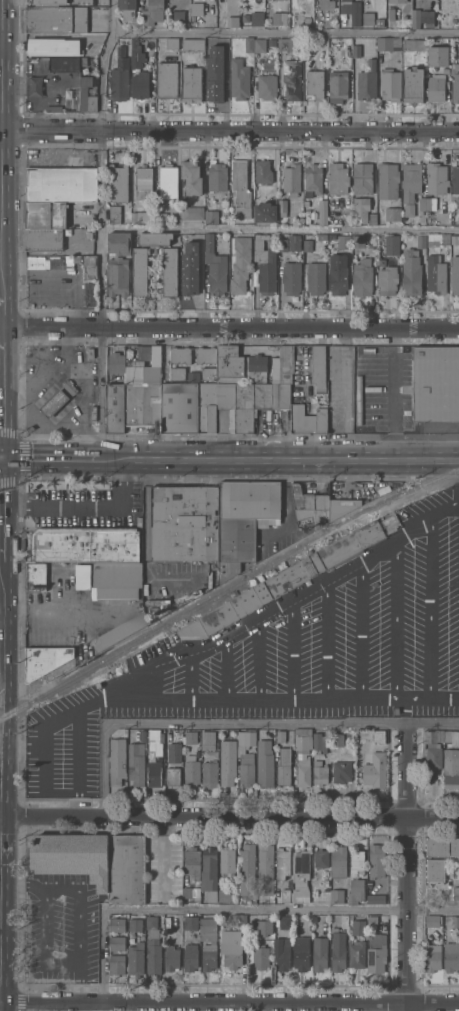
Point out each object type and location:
building: (48, 1)
building: (397, 1)
building: (326, 3)
building: (219, 4)
building: (196, 7)
building: (128, 8)
building: (351, 10)
building: (153, 11)
building: (178, 15)
building: (421, 16)
building: (245, 17)
building: (333, 17)
building: (369, 17)
building: (56, 18)
building: (257, 18)
building: (279, 19)
building: (307, 19)
building: (233, 21)
road: (286, 32)
building: (272, 39)
building: (171, 42)
building: (387, 42)
building: (192, 43)
building: (284, 43)
building: (413, 43)
building: (248, 44)
building: (259, 44)
building: (53, 45)
road: (1, 47)
building: (341, 48)
building: (309, 50)
building: (356, 50)
building: (222, 51)
building: (136, 52)
building: (437, 55)
building: (66, 63)
road: (102, 64)
building: (445, 69)
building: (119, 75)
building: (239, 78)
building: (291, 78)
building: (166, 79)
building: (213, 80)
building: (367, 81)
building: (314, 82)
building: (139, 83)
building: (191, 83)
building: (390, 83)
building: (337, 84)
building: (413, 84)
building: (455, 85)
building: (34, 86)
building: (266, 86)
building: (435, 87)
building: (85, 94)
road: (53, 131)
road: (281, 131)
road: (2, 146)
building: (262, 170)
building: (216, 175)
building: (191, 176)
building: (312, 177)
building: (337, 177)
building: (362, 177)
building: (436, 177)
building: (291, 178)
building: (387, 179)
building: (143, 180)
building: (168, 180)
building: (410, 180)
building: (118, 182)
building: (60, 183)
building: (455, 183)
building: (240, 188)
building: (422, 202)
building: (282, 206)
building: (360, 209)
building: (409, 209)
building: (321, 210)
building: (192, 211)
building: (265, 211)
building: (118, 213)
building: (392, 213)
building: (45, 214)
building: (134, 216)
building: (211, 216)
building: (161, 217)
building: (372, 217)
road: (281, 227)
road: (103, 230)
building: (260, 235)
building: (322, 236)
building: (154, 237)
building: (43, 238)
building: (198, 238)
building: (455, 238)
building: (437, 239)
building: (343, 240)
building: (118, 241)
building: (209, 241)
building: (283, 241)
building: (294, 241)
building: (420, 241)
building: (257, 243)
building: (357, 243)
building: (392, 243)
building: (307, 244)
building: (240, 263)
building: (265, 269)
building: (139, 270)
building: (168, 270)
building: (88, 271)
building: (410, 272)
building: (337, 273)
building: (435, 273)
building: (217, 274)
building: (455, 274)
building: (316, 275)
building: (117, 276)
building: (291, 276)
building: (362, 276)
building: (189, 278)
building: (387, 279)
road: (1, 310)
road: (51, 329)
road: (281, 329)
road: (0, 336)
road: (39, 343)
building: (136, 353)
building: (179, 354)
road: (65, 356)
building: (115, 361)
building: (197, 362)
building: (230, 363)
building: (317, 363)
building: (283, 364)
building: (255, 366)
road: (36, 371)
building: (177, 372)
building: (152, 376)
building: (192, 377)
road: (0, 380)
building: (436, 383)
road: (17, 385)
building: (68, 386)
building: (320, 387)
road: (103, 393)
building: (281, 395)
building: (53, 402)
building: (141, 402)
building: (250, 403)
building: (113, 406)
building: (180, 407)
building: (207, 407)
building: (225, 407)
road: (394, 408)
building: (334, 416)
building: (307, 419)
road: (54, 423)
road: (37, 439)
road: (52, 458)
road: (281, 459)
building: (146, 496)
building: (302, 501)
road: (85, 505)
building: (331, 507)
building: (244, 519)
road: (0, 522)
building: (138, 522)
building: (184, 523)
building: (84, 543)
building: (349, 544)
building: (214, 575)
building: (35, 576)
building: (82, 577)
building: (115, 579)
railway: (227, 590)
road: (298, 593)
building: (253, 597)
road: (0, 610)
road: (56, 610)
road: (429, 611)
road: (1, 616)
road: (395, 621)
building: (192, 628)
building: (121, 630)
road: (359, 630)
parking lot: (327, 638)
road: (327, 639)
road: (294, 648)
building: (45, 659)
road: (255, 659)
road: (224, 667)
road: (1, 677)
road: (188, 677)
road: (255, 702)
road: (427, 702)
road: (405, 711)
road: (64, 719)
road: (433, 720)
road: (210, 721)
building: (170, 734)
building: (280, 735)
building: (378, 735)
building: (142, 736)
building: (442, 736)
building: (189, 737)
building: (207, 739)
building: (337, 739)
building: (154, 741)
building: (318, 742)
parking lot: (65, 747)
building: (174, 749)
building: (196, 749)
building: (302, 755)
building: (433, 755)
building: (245, 756)
building: (116, 760)
building: (227, 761)
building: (264, 762)
road: (78, 764)
building: (136, 764)
road: (1, 767)
building: (283, 767)
building: (451, 768)
building: (341, 770)
building: (375, 770)
building: (191, 772)
building: (319, 772)
building: (154, 773)
building: (172, 773)
building: (209, 773)
road: (0, 785)
road: (229, 817)
building: (376, 839)
building: (437, 845)
building: (454, 846)
building: (72, 856)
building: (320, 858)
building: (376, 860)
building: (226, 861)
building: (356, 861)
building: (191, 862)
building: (338, 862)
building: (282, 863)
road: (406, 865)
building: (126, 868)
building: (208, 869)
building: (247, 869)
building: (265, 869)
building: (434, 870)
building: (301, 876)
building: (325, 882)
road: (21, 885)
building: (355, 891)
building: (190, 892)
building: (456, 892)
building: (223, 895)
building: (286, 895)
building: (336, 895)
building: (375, 899)
road: (229, 910)
building: (236, 919)
building: (343, 920)
building: (431, 920)
building: (285, 921)
building: (372, 921)
building: (455, 921)
building: (169, 922)
building: (190, 922)
building: (116, 924)
building: (134, 924)
building: (207, 925)
building: (264, 926)
building: (358, 927)
building: (456, 930)
building: (117, 943)
building: (152, 947)
building: (231, 948)
building: (337, 950)
building: (281, 953)
building: (301, 953)
building: (319, 953)
building: (376, 953)
building: (357, 954)
building: (208, 955)
building: (260, 956)
building: (171, 957)
building: (190, 957)
building: (432, 957)
building: (451, 957)
building: (135, 959)
road: (75, 961)
building: (116, 964)
road: (78, 981)
road: (229, 1005)

